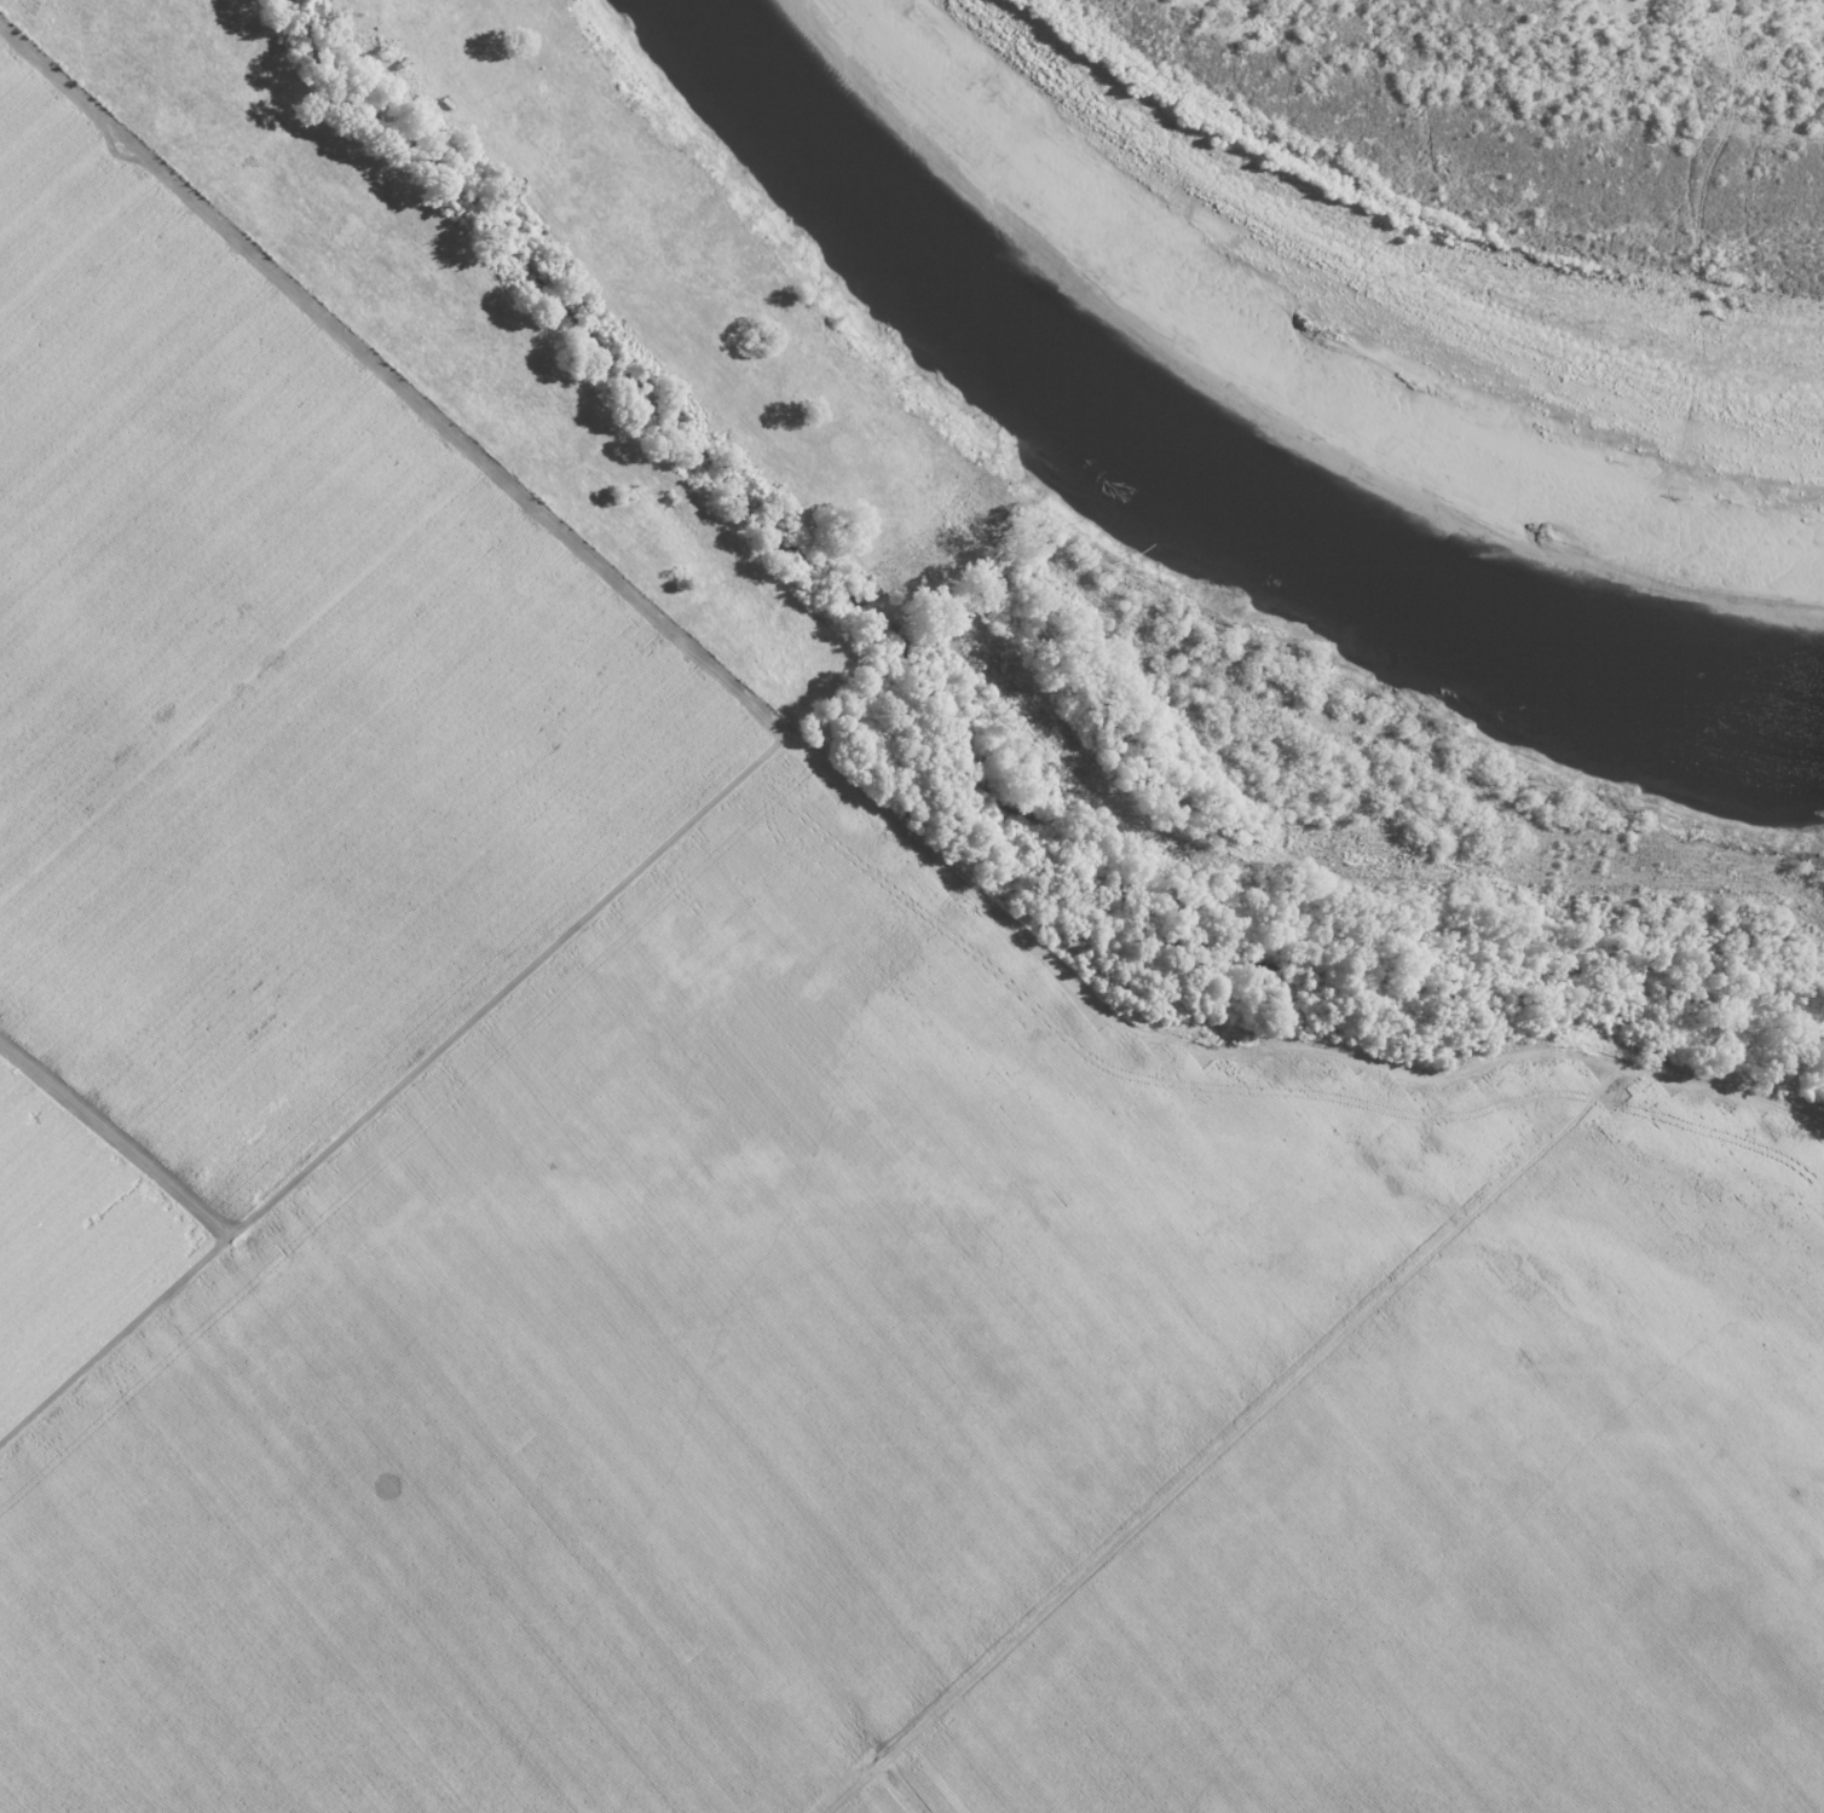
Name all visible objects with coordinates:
road: (578, 265)
river: (1242, 335)

